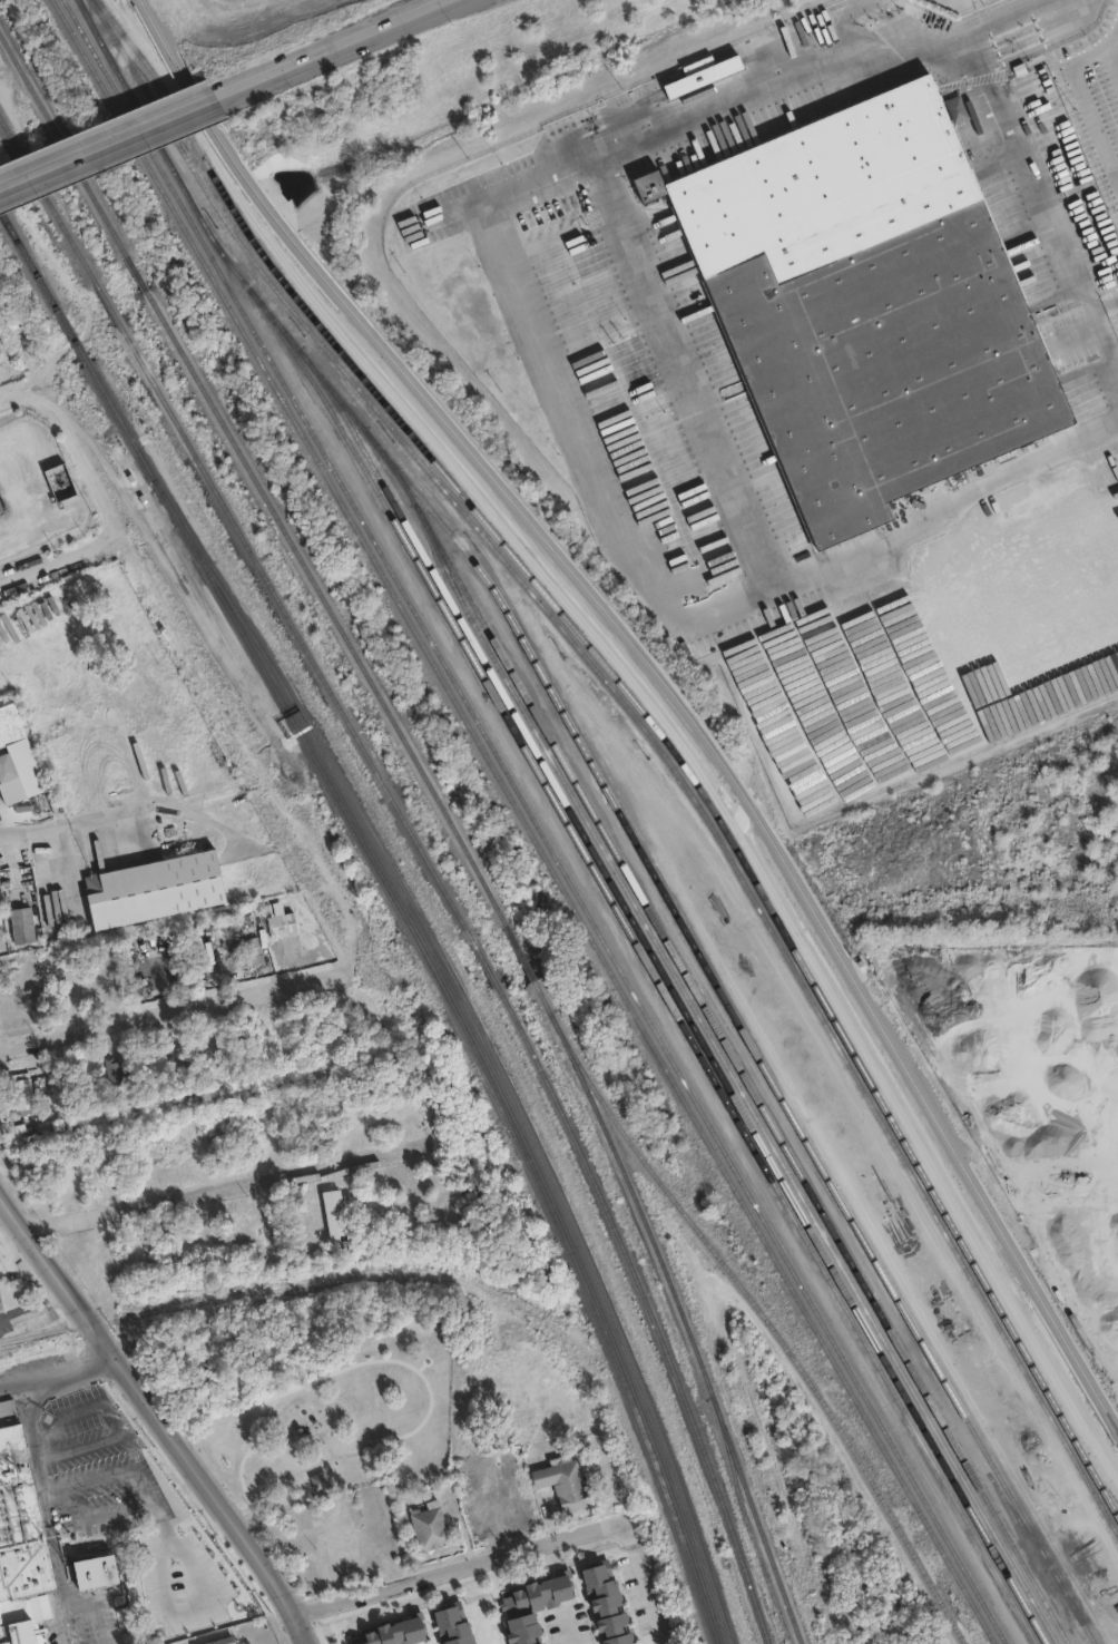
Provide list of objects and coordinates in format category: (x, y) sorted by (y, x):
road: (1030, 26)
road: (1038, 35)
railway: (118, 42)
road: (1040, 45)
road: (334, 49)
road: (1110, 63)
building: (700, 74)
road: (1081, 98)
parking lot: (1092, 98)
road: (725, 100)
road: (108, 144)
railway: (63, 149)
railway: (197, 170)
railway: (47, 200)
road: (1046, 209)
railway: (28, 260)
railway: (136, 277)
building: (865, 305)
road: (1104, 305)
railway: (107, 306)
parking lot: (1111, 307)
railway: (72, 336)
road: (685, 372)
road: (80, 442)
road: (61, 561)
road: (921, 578)
railway: (323, 607)
road: (694, 622)
railway: (296, 632)
railway: (667, 689)
railway: (651, 721)
building: (9, 724)
building: (6, 767)
railway: (562, 818)
railway: (523, 821)
railway: (536, 821)
road: (81, 822)
railway: (730, 858)
building: (158, 890)
building: (285, 921)
building: (18, 922)
railway: (517, 949)
building: (257, 955)
railway: (704, 955)
railway: (483, 960)
railway: (440, 985)
building: (9, 1001)
railway: (679, 1006)
road: (171, 1012)
railway: (481, 1041)
railway: (728, 1049)
building: (111, 1065)
railway: (732, 1079)
building: (18, 1088)
building: (2, 1126)
road: (232, 1185)
road: (1085, 1201)
building: (332, 1211)
building: (269, 1217)
road: (375, 1271)
railway: (677, 1305)
railway: (649, 1307)
railway: (772, 1327)
railway: (31, 1340)
railway: (22, 1344)
road: (58, 1376)
building: (1114, 1397)
park: (316, 1416)
road: (158, 1420)
building: (481, 1464)
building: (558, 1477)
building: (318, 1480)
road: (46, 1509)
building: (474, 1509)
building: (17, 1521)
railway: (746, 1521)
building: (426, 1523)
building: (187, 1559)
building: (96, 1565)
road: (459, 1568)
road: (638, 1583)
building: (553, 1585)
building: (605, 1603)
building: (185, 1611)
building: (519, 1611)
road: (90, 1612)
building: (451, 1624)
building: (405, 1626)
building: (375, 1634)
building: (23, 1635)
building: (2, 1636)
building: (220, 1641)

